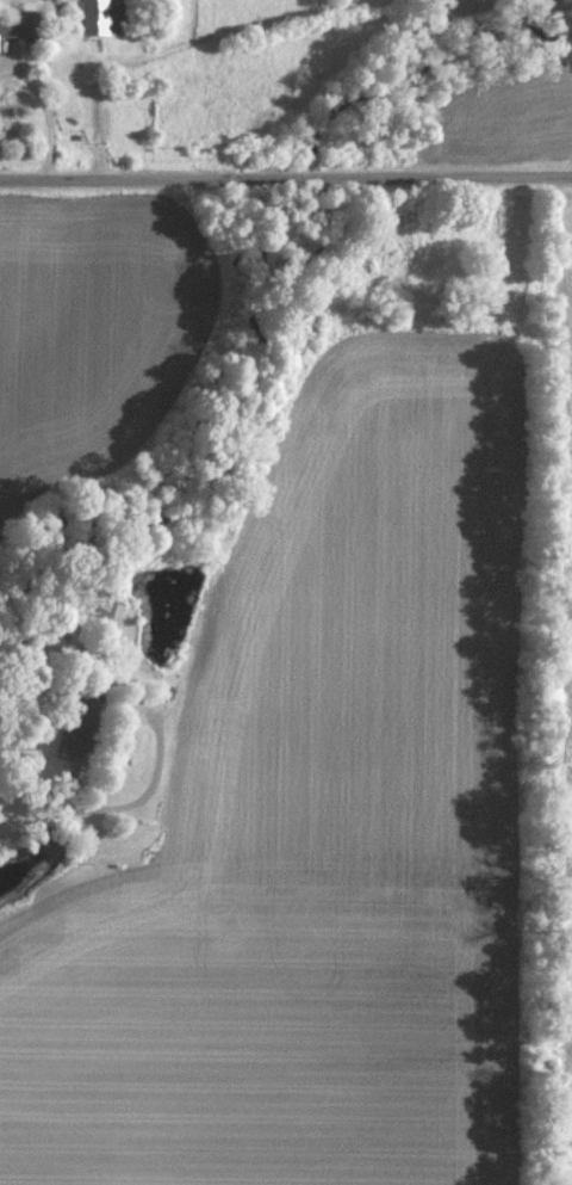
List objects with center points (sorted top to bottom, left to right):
building: (102, 16)
road: (50, 110)
road: (285, 177)
road: (128, 808)

